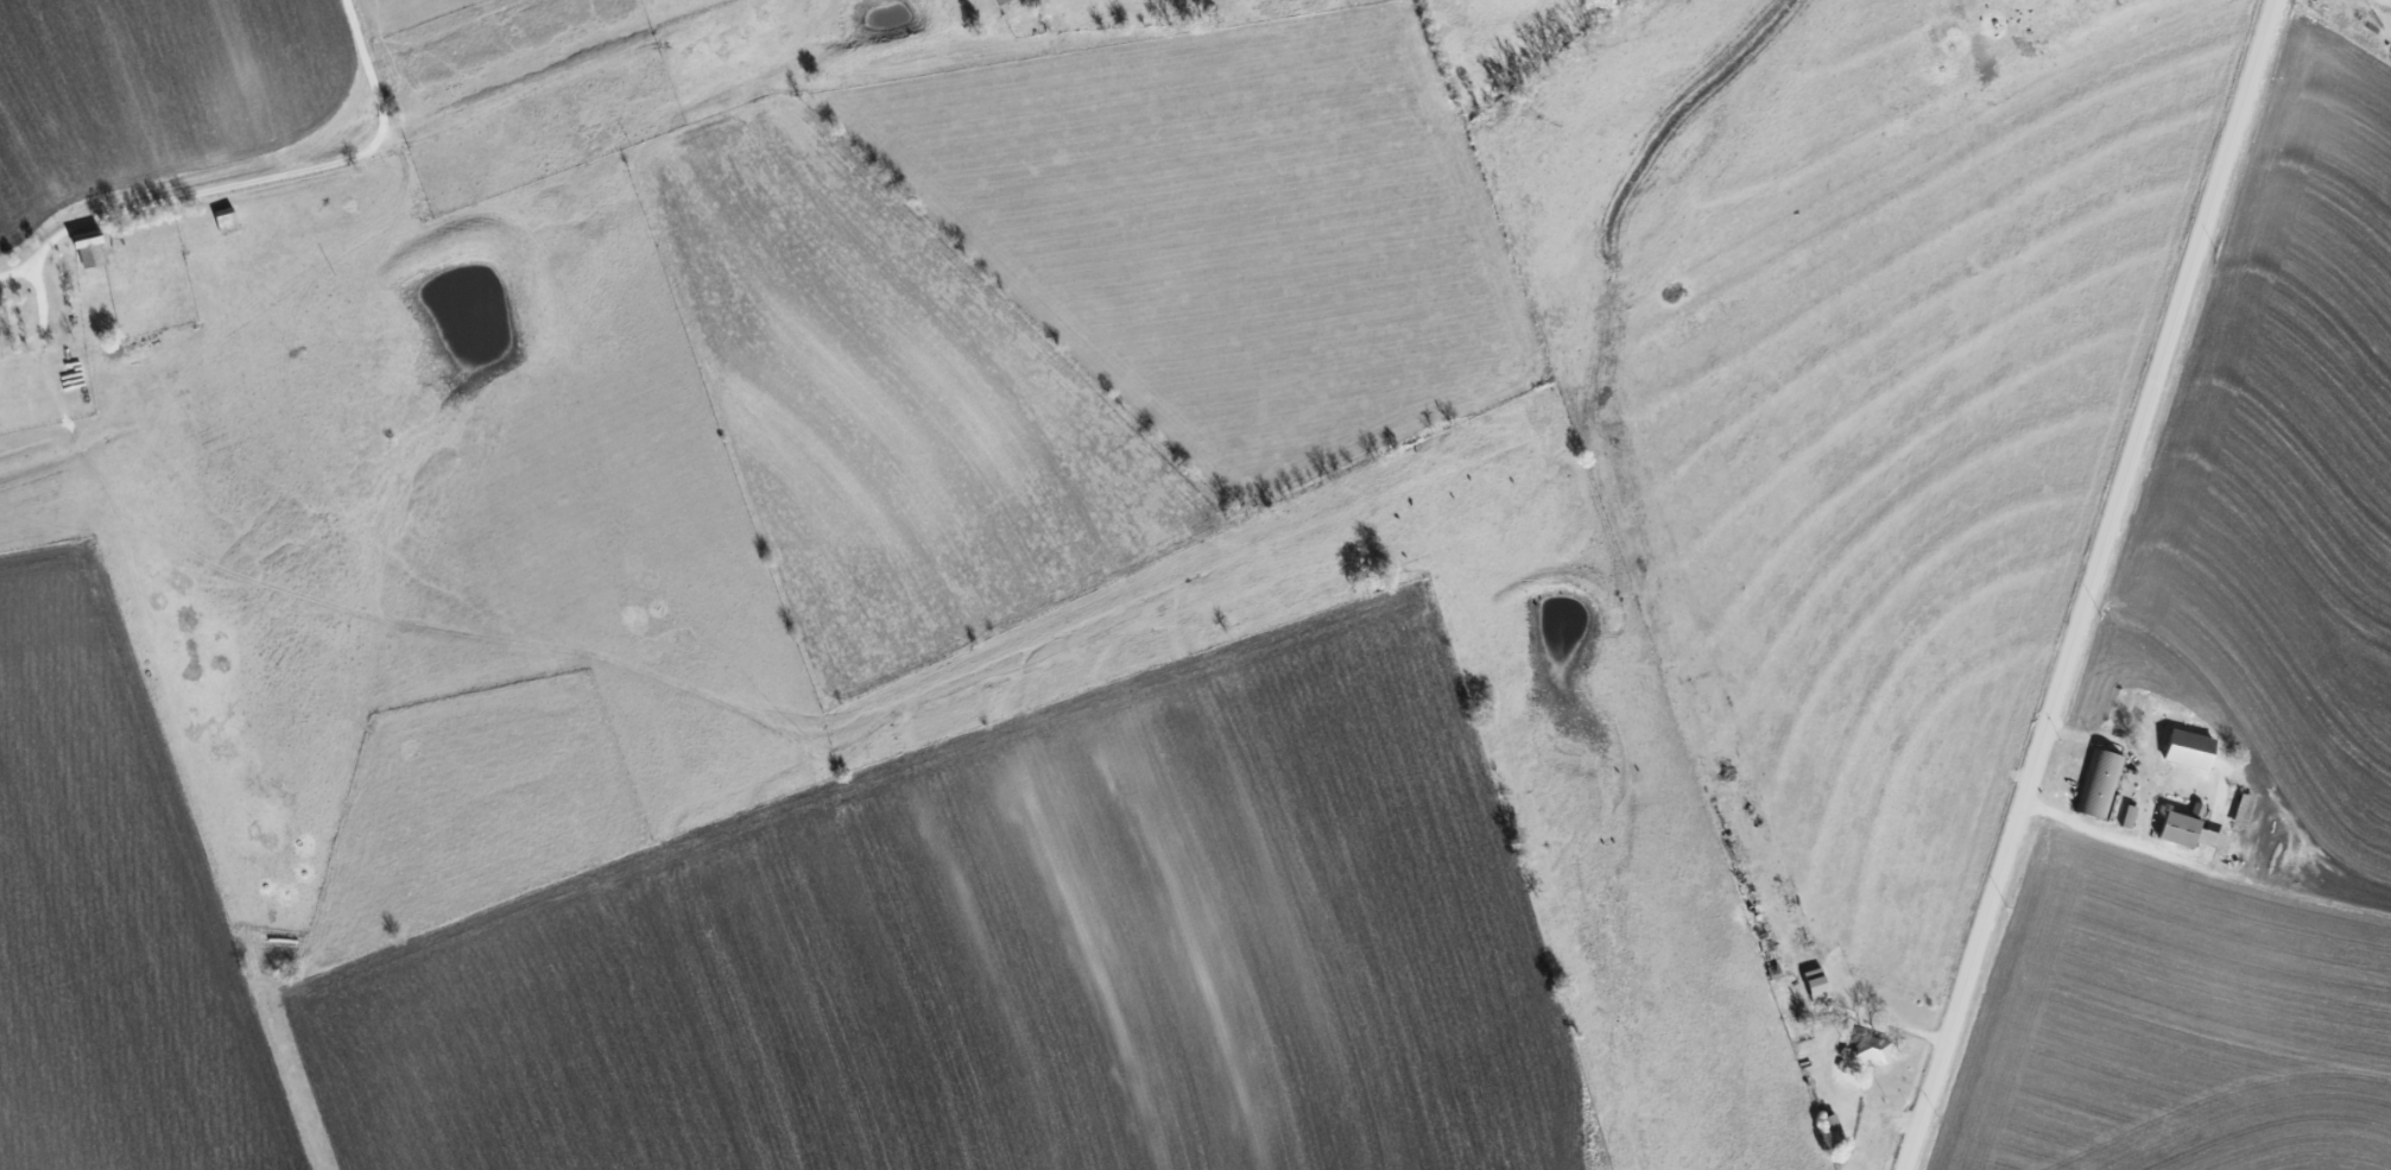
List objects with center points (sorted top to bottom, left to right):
building: (1000, 1)
road: (258, 186)
building: (89, 248)
road: (2093, 584)
building: (2190, 748)
building: (2099, 783)
building: (2191, 831)
road: (2112, 833)
building: (1817, 984)
building: (1873, 1048)
building: (1833, 1125)

